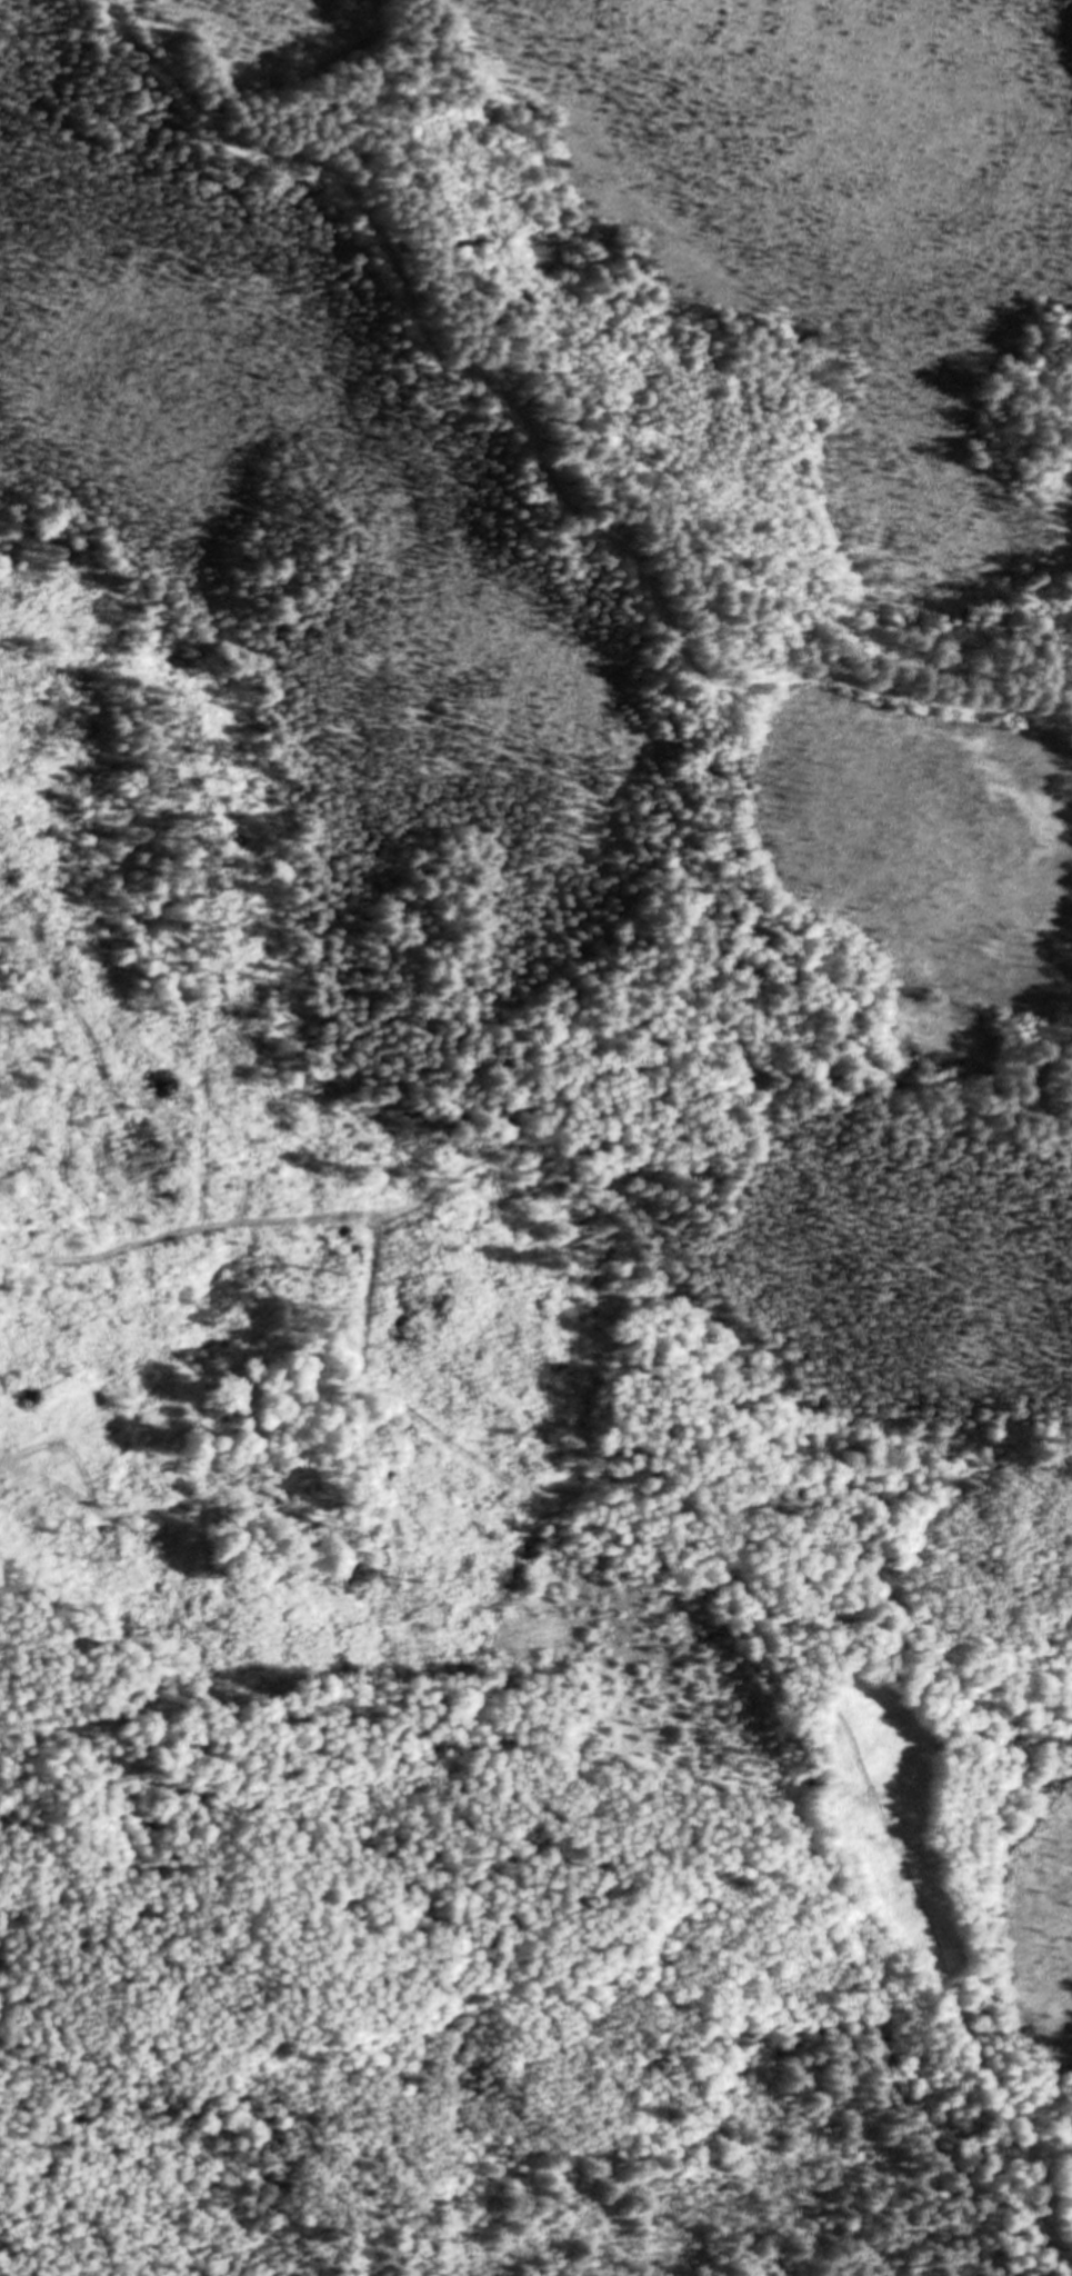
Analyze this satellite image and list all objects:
road: (531, 452)

